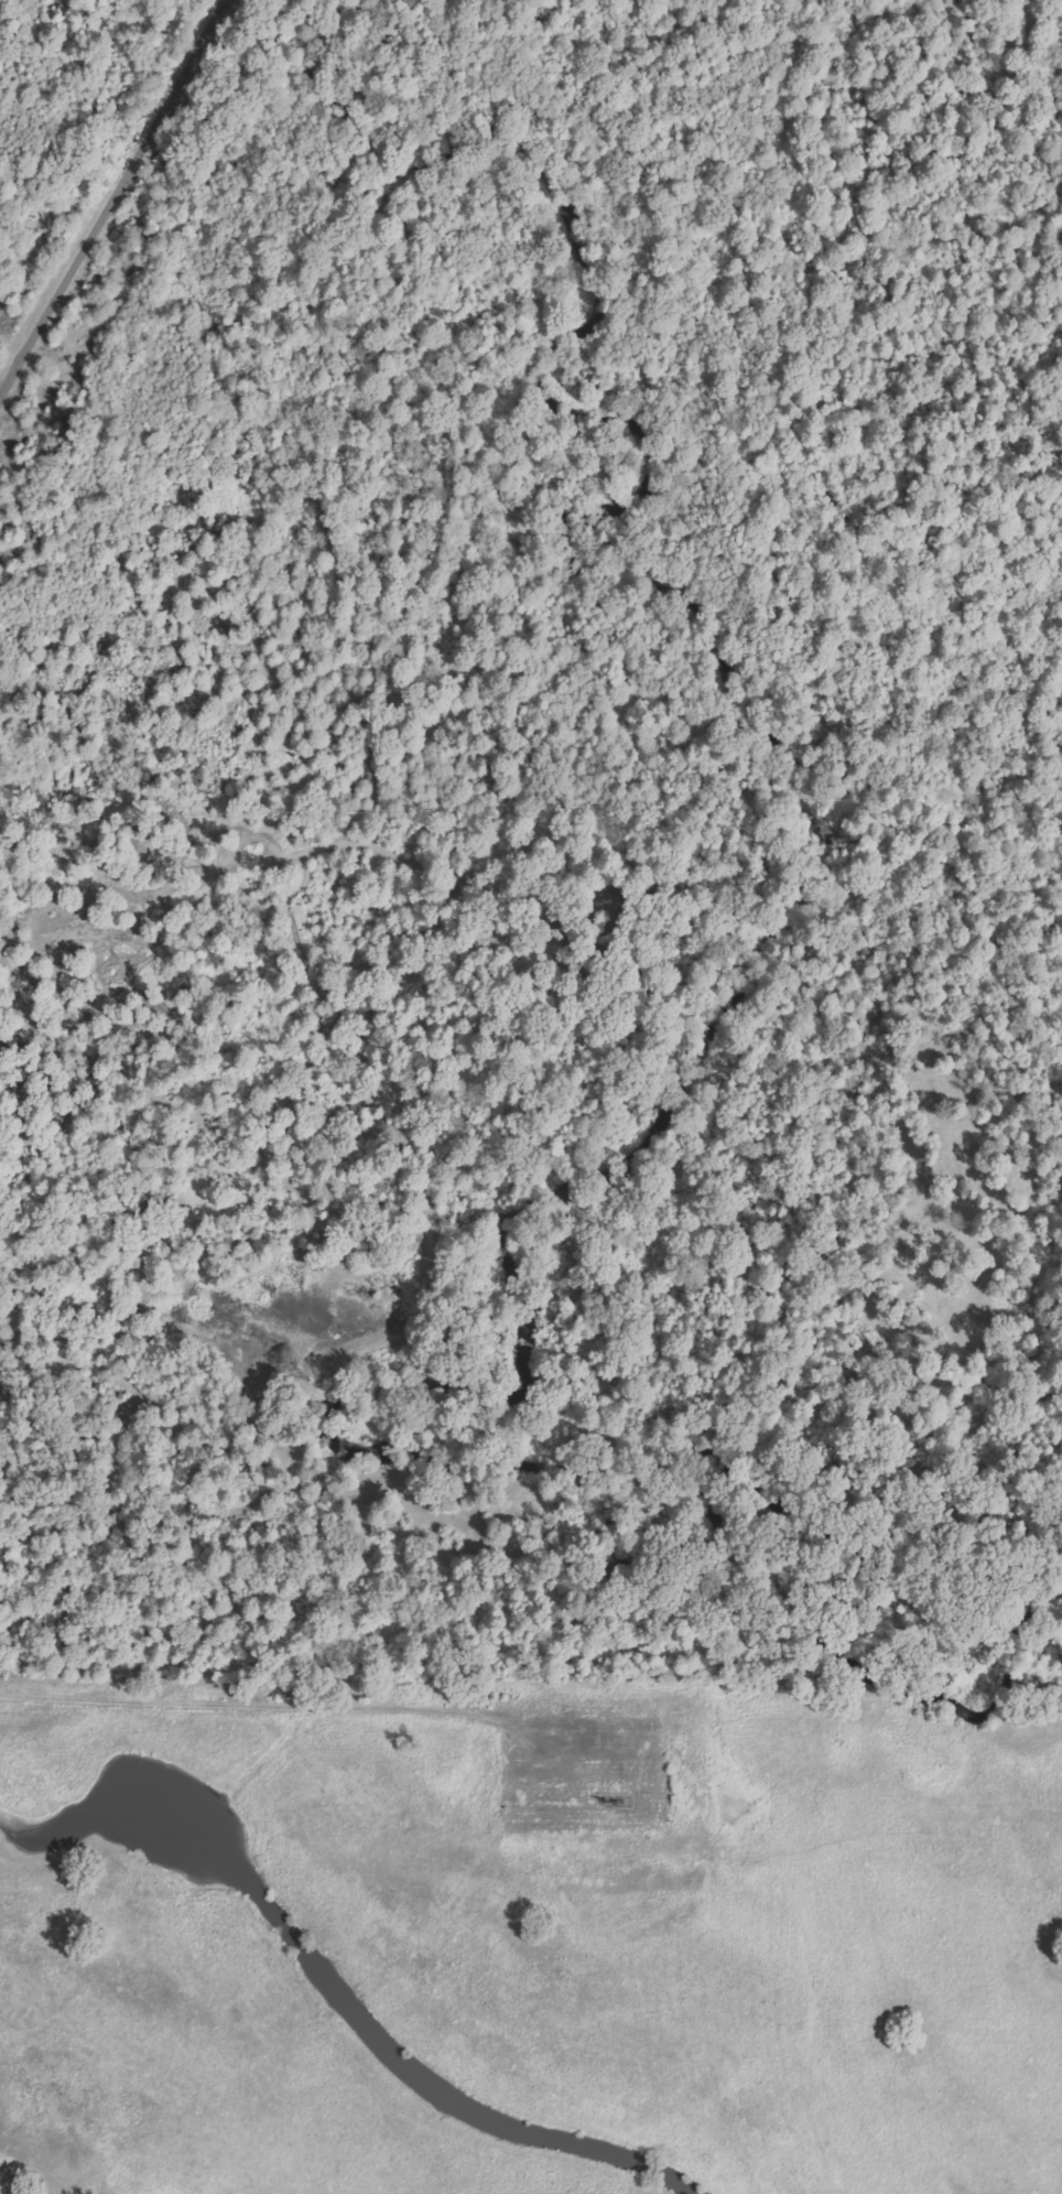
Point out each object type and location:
road: (112, 196)

